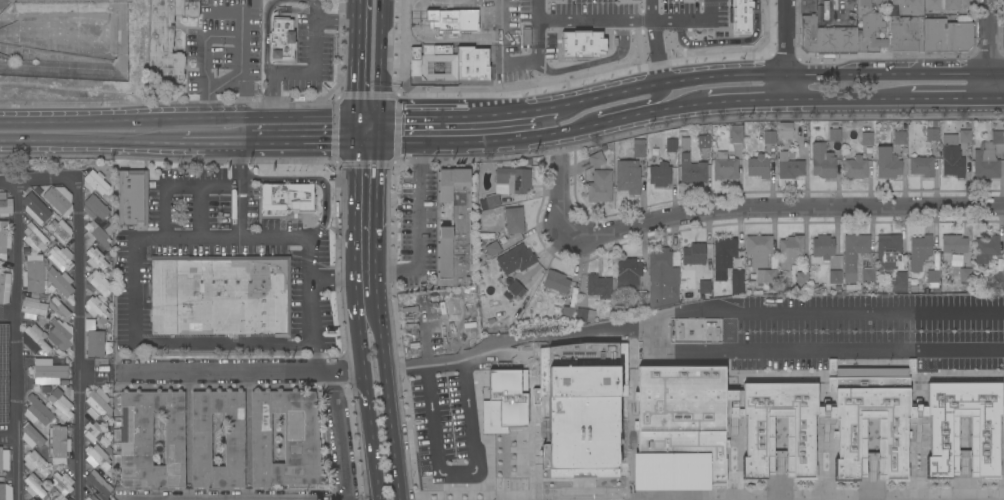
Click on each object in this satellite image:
building: (880, 1)
building: (589, 2)
building: (943, 5)
road: (313, 9)
road: (595, 24)
building: (906, 26)
building: (869, 28)
road: (266, 34)
building: (168, 36)
building: (947, 37)
building: (827, 38)
building: (282, 40)
road: (655, 41)
road: (238, 47)
road: (788, 49)
road: (989, 49)
street lamp: (833, 58)
road: (357, 59)
road: (381, 59)
road: (519, 67)
road: (314, 69)
road: (812, 72)
road: (997, 72)
road: (595, 97)
road: (743, 99)
road: (849, 99)
road: (950, 99)
road: (997, 99)
road: (632, 104)
road: (510, 114)
road: (185, 118)
road: (292, 118)
road: (368, 118)
road: (422, 118)
road: (631, 118)
road: (71, 119)
traffic signals: (380, 119)
building: (967, 126)
road: (356, 130)
road: (380, 131)
building: (736, 133)
building: (785, 133)
building: (834, 133)
building: (932, 133)
road: (560, 135)
building: (965, 136)
building: (769, 137)
building: (900, 138)
road: (74, 139)
building: (703, 139)
building: (867, 139)
road: (195, 140)
road: (299, 141)
building: (684, 141)
road: (515, 142)
building: (652, 142)
traffic signals: (356, 143)
road: (368, 143)
traffic signals: (380, 143)
road: (400, 143)
road: (447, 144)
building: (671, 145)
building: (834, 146)
building: (638, 148)
building: (902, 151)
building: (652, 152)
building: (952, 157)
building: (987, 158)
building: (596, 159)
building: (822, 161)
building: (887, 164)
building: (789, 165)
building: (725, 166)
building: (758, 166)
building: (921, 166)
building: (855, 168)
building: (692, 169)
road: (379, 172)
building: (660, 174)
building: (455, 177)
building: (628, 177)
road: (315, 179)
building: (512, 180)
road: (39, 181)
building: (95, 182)
road: (175, 185)
building: (600, 186)
road: (240, 190)
building: (288, 196)
road: (355, 196)
building: (132, 198)
building: (59, 200)
building: (490, 202)
building: (5, 205)
building: (460, 206)
building: (35, 209)
road: (739, 209)
building: (97, 212)
road: (202, 212)
road: (378, 216)
building: (514, 220)
parking lot: (416, 225)
road: (419, 227)
building: (44, 230)
building: (60, 231)
building: (454, 231)
building: (95, 234)
building: (48, 235)
building: (35, 239)
building: (515, 239)
building: (4, 240)
road: (237, 240)
building: (53, 242)
building: (454, 243)
parking lot: (222, 245)
building: (492, 246)
building: (953, 246)
building: (725, 249)
building: (822, 249)
building: (986, 249)
building: (759, 250)
building: (790, 251)
building: (919, 252)
building: (887, 253)
building: (694, 254)
building: (854, 257)
building: (60, 258)
building: (453, 258)
building: (95, 259)
building: (516, 259)
road: (377, 261)
road: (354, 268)
building: (628, 273)
building: (34, 274)
building: (453, 274)
building: (802, 274)
building: (868, 275)
building: (965, 275)
building: (766, 276)
building: (737, 277)
building: (835, 277)
building: (933, 278)
building: (662, 279)
building: (998, 281)
building: (60, 282)
building: (556, 282)
building: (898, 282)
building: (598, 286)
building: (4, 287)
building: (99, 287)
building: (913, 287)
building: (51, 288)
building: (704, 289)
building: (853, 289)
building: (936, 290)
building: (514, 291)
building: (221, 295)
building: (574, 296)
building: (641, 298)
building: (1002, 301)
road: (377, 304)
building: (946, 304)
building: (34, 307)
building: (59, 308)
building: (97, 310)
building: (567, 313)
building: (585, 315)
road: (957, 318)
building: (496, 329)
building: (712, 330)
building: (685, 331)
building: (99, 333)
building: (61, 335)
road: (78, 339)
building: (35, 340)
road: (519, 340)
road: (15, 341)
building: (94, 343)
road: (654, 347)
building: (3, 371)
road: (241, 373)
building: (49, 374)
road: (366, 393)
building: (504, 400)
building: (59, 405)
building: (98, 406)
road: (389, 407)
building: (37, 411)
building: (682, 412)
building: (582, 417)
road: (7, 423)
road: (187, 423)
road: (247, 425)
building: (96, 434)
building: (940, 435)
building: (33, 437)
road: (341, 437)
building: (755, 437)
building: (847, 438)
building: (151, 439)
building: (286, 439)
building: (234, 440)
building: (59, 445)
road: (434, 455)
building: (4, 460)
building: (99, 461)
building: (673, 462)
building: (35, 463)
building: (62, 483)
building: (97, 483)
building: (34, 487)
building: (4, 491)
building: (467, 497)
building: (483, 497)
building: (500, 497)
building: (90, 498)
building: (32, 499)
building: (56, 499)
building: (64, 499)
building: (99, 499)
road: (235, 499)

